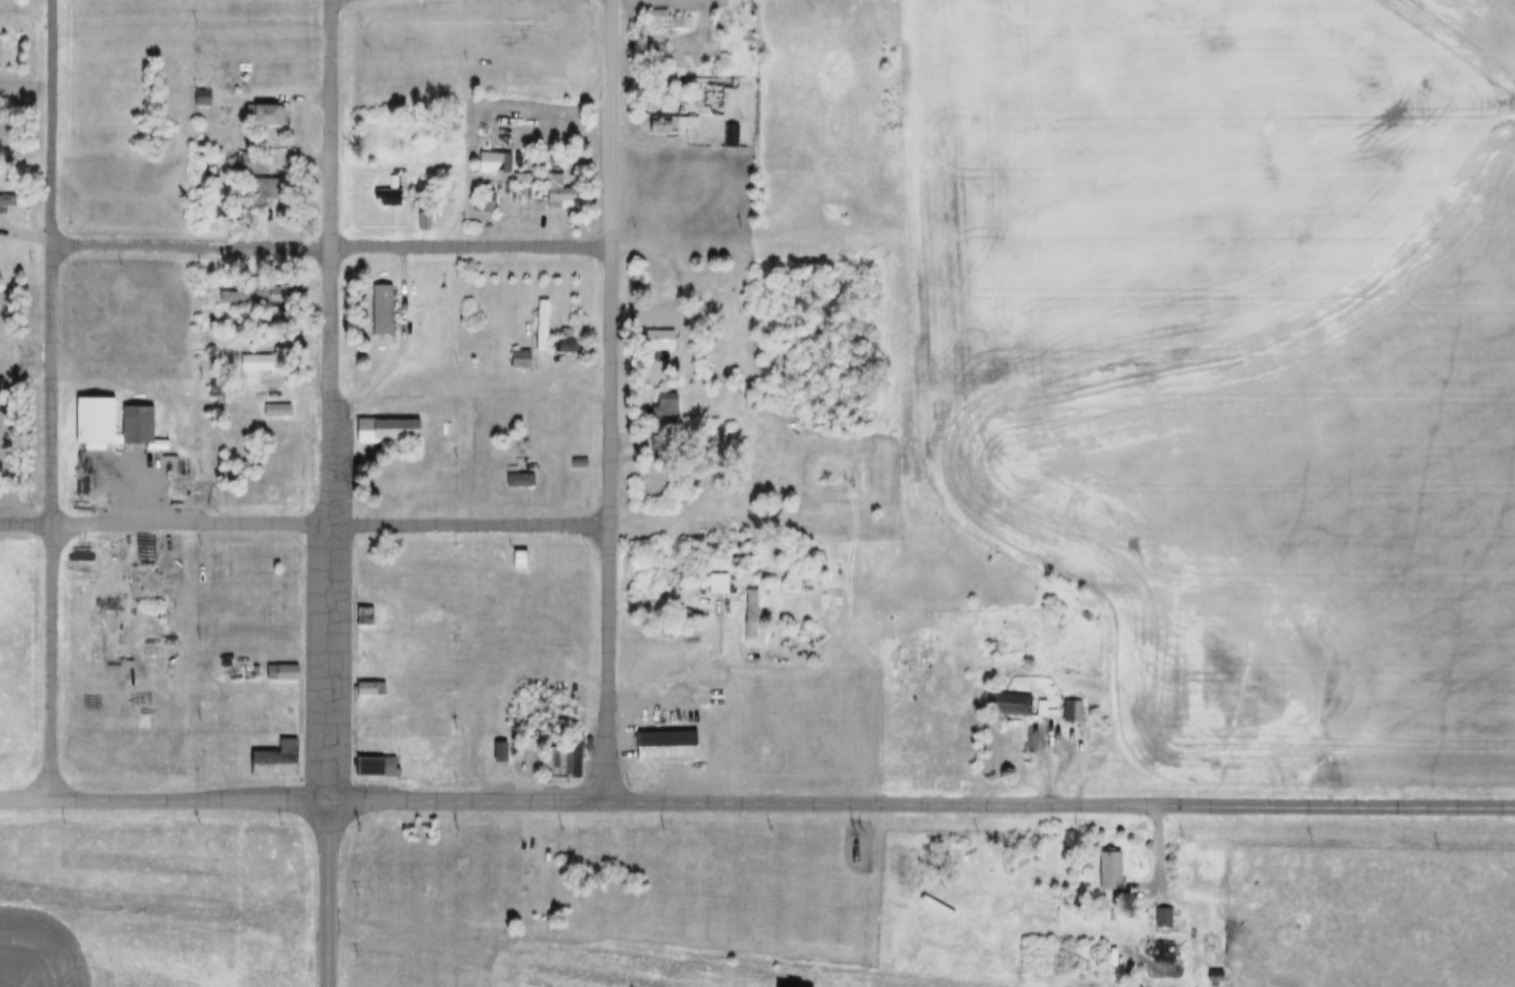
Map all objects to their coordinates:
building: (667, 13)
building: (666, 22)
building: (204, 89)
building: (701, 92)
building: (205, 100)
building: (268, 109)
building: (673, 116)
road: (612, 123)
building: (673, 126)
building: (735, 128)
building: (732, 137)
building: (3, 145)
building: (497, 156)
building: (242, 158)
building: (254, 165)
building: (538, 171)
building: (269, 181)
building: (562, 189)
building: (389, 190)
building: (271, 191)
building: (8, 194)
building: (486, 199)
building: (390, 200)
building: (9, 203)
building: (486, 207)
building: (431, 212)
road: (26, 235)
road: (193, 245)
road: (473, 246)
building: (247, 289)
building: (664, 291)
building: (254, 298)
building: (383, 303)
building: (542, 318)
building: (568, 326)
building: (658, 333)
building: (565, 338)
road: (402, 346)
building: (571, 346)
building: (523, 352)
building: (266, 354)
building: (266, 364)
road: (52, 397)
road: (334, 398)
building: (666, 402)
building: (280, 403)
building: (280, 412)
building: (111, 416)
building: (523, 416)
building: (387, 422)
building: (581, 455)
building: (522, 473)
building: (525, 482)
road: (683, 517)
road: (472, 520)
road: (166, 522)
road: (611, 522)
building: (520, 552)
building: (521, 561)
building: (722, 576)
building: (652, 584)
building: (720, 586)
building: (753, 607)
building: (367, 609)
building: (284, 665)
road: (689, 667)
building: (285, 675)
building: (373, 680)
building: (372, 691)
building: (1011, 697)
building: (979, 700)
building: (1043, 700)
building: (1074, 703)
building: (1007, 707)
building: (667, 739)
building: (501, 744)
building: (1028, 746)
building: (565, 751)
road: (1055, 751)
building: (274, 753)
building: (504, 755)
building: (378, 760)
road: (25, 796)
road: (782, 801)
road: (1167, 853)
building: (1112, 862)
road: (332, 891)
building: (1169, 910)
building: (1165, 919)
building: (1169, 945)
building: (1167, 954)
building: (1218, 968)
building: (1218, 977)

